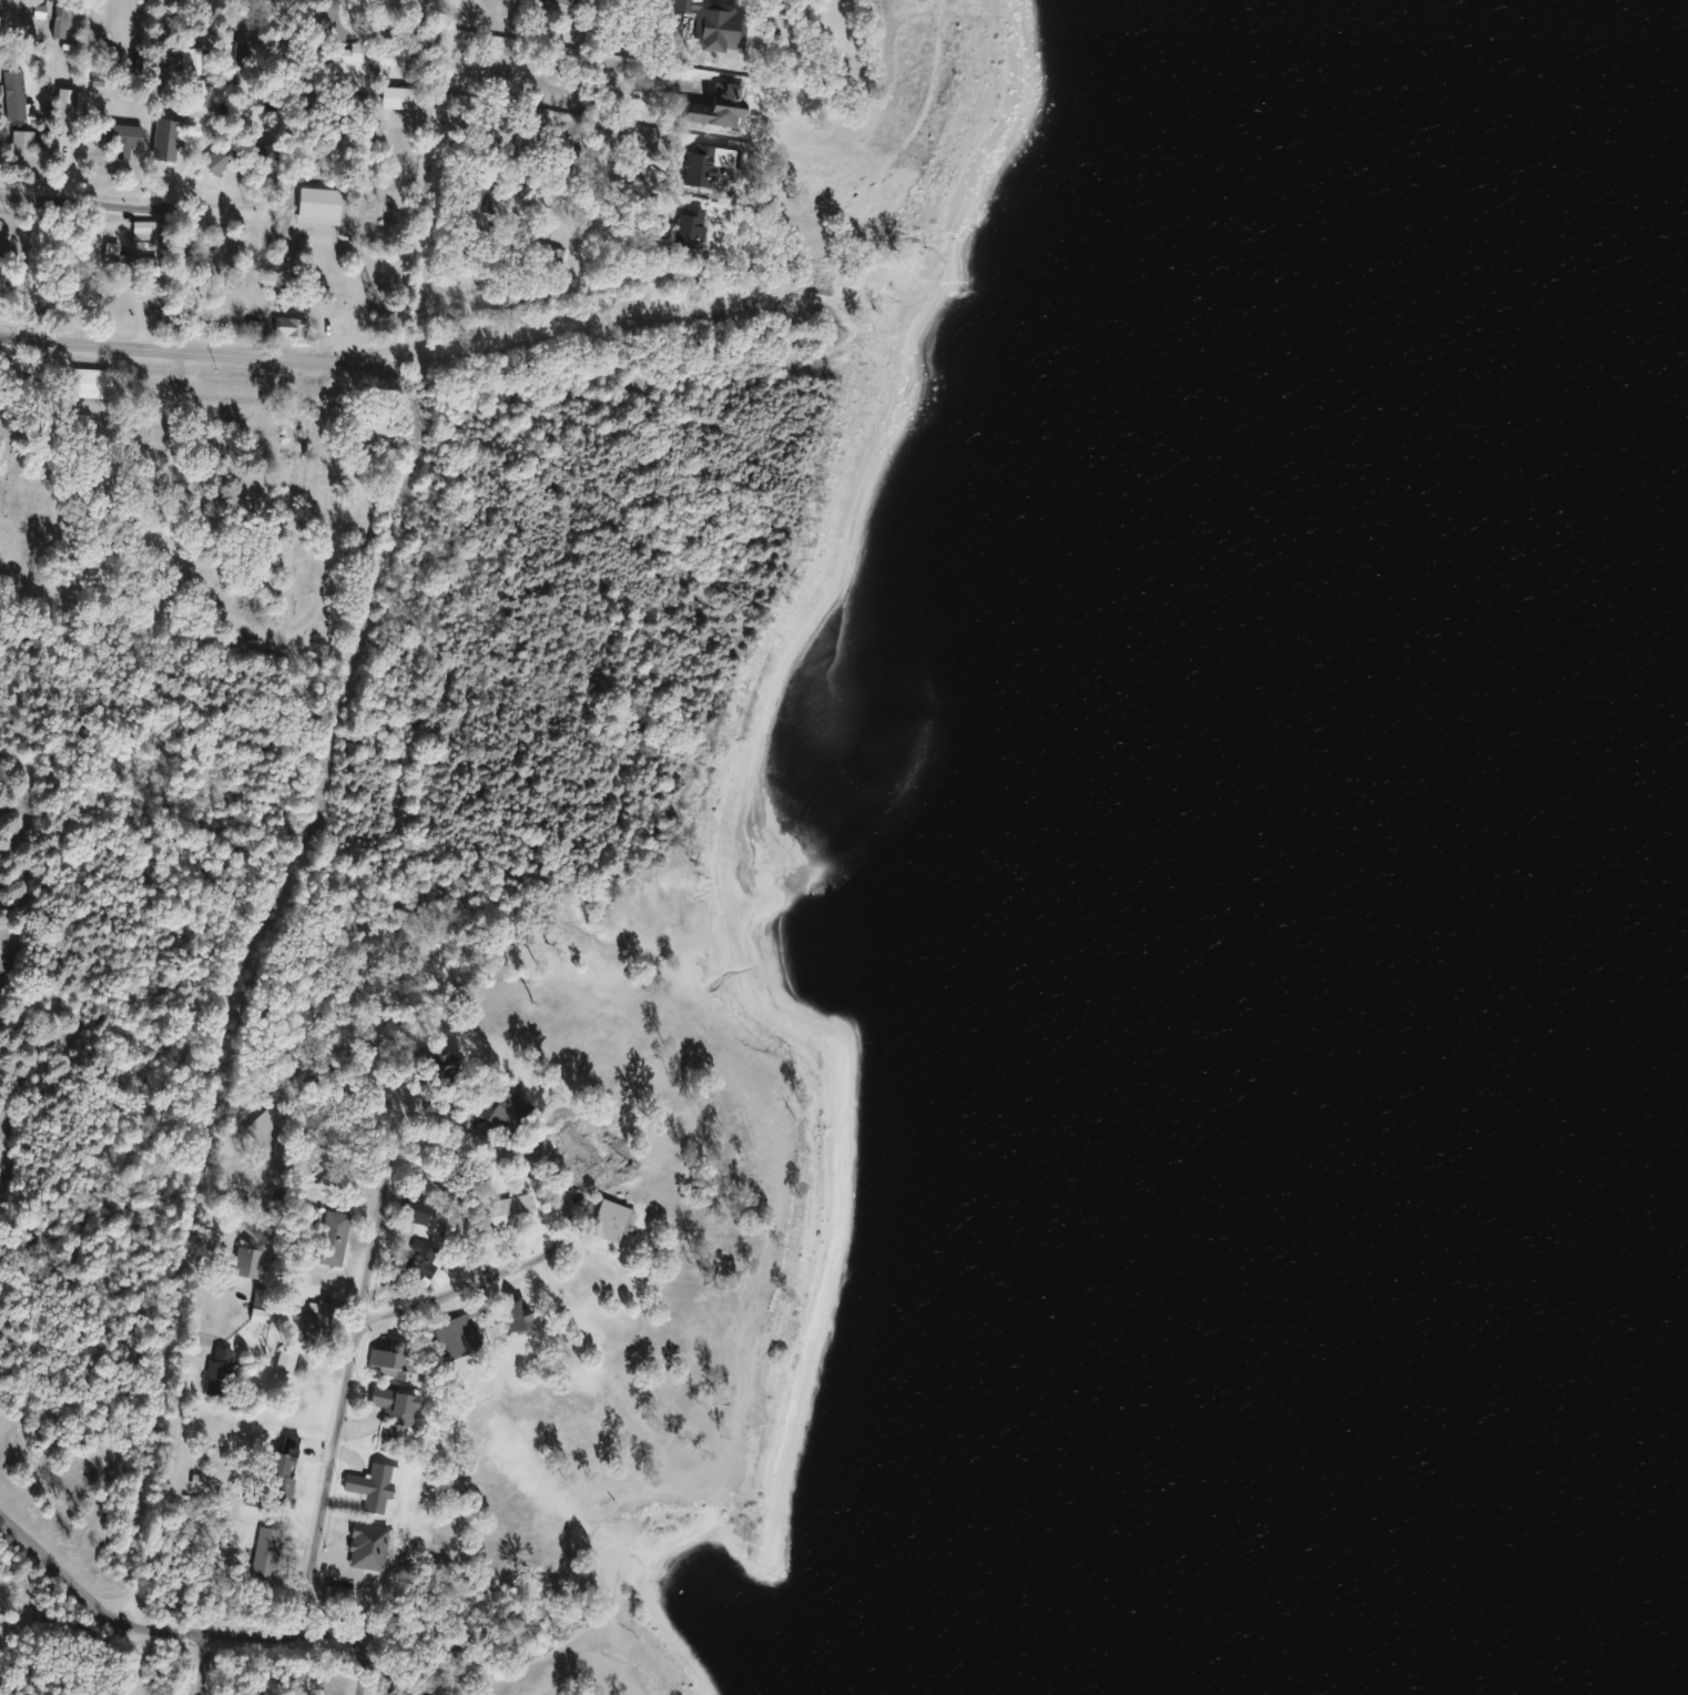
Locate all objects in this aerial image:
building: (577, 2)
building: (69, 19)
road: (586, 19)
building: (718, 23)
building: (104, 38)
road: (574, 42)
building: (367, 54)
building: (195, 61)
building: (238, 62)
building: (18, 94)
building: (399, 97)
building: (718, 110)
building: (24, 145)
building: (263, 154)
building: (218, 160)
road: (428, 181)
building: (479, 193)
road: (130, 204)
building: (342, 209)
building: (1, 229)
building: (148, 233)
building: (555, 254)
building: (129, 258)
building: (2, 264)
building: (155, 302)
building: (292, 326)
road: (369, 361)
building: (94, 383)
park: (202, 510)
building: (342, 1056)
building: (444, 1064)
building: (508, 1110)
building: (590, 1159)
building: (418, 1208)
building: (509, 1209)
building: (612, 1220)
road: (378, 1224)
building: (336, 1230)
building: (251, 1261)
building: (418, 1261)
building: (262, 1298)
road: (426, 1301)
building: (522, 1315)
building: (318, 1324)
building: (455, 1338)
building: (395, 1358)
building: (288, 1361)
building: (222, 1372)
building: (398, 1412)
road: (170, 1453)
building: (285, 1475)
building: (268, 1552)
building: (342, 1595)
road: (163, 1630)
road: (203, 1664)
road: (364, 1667)
building: (416, 1694)

